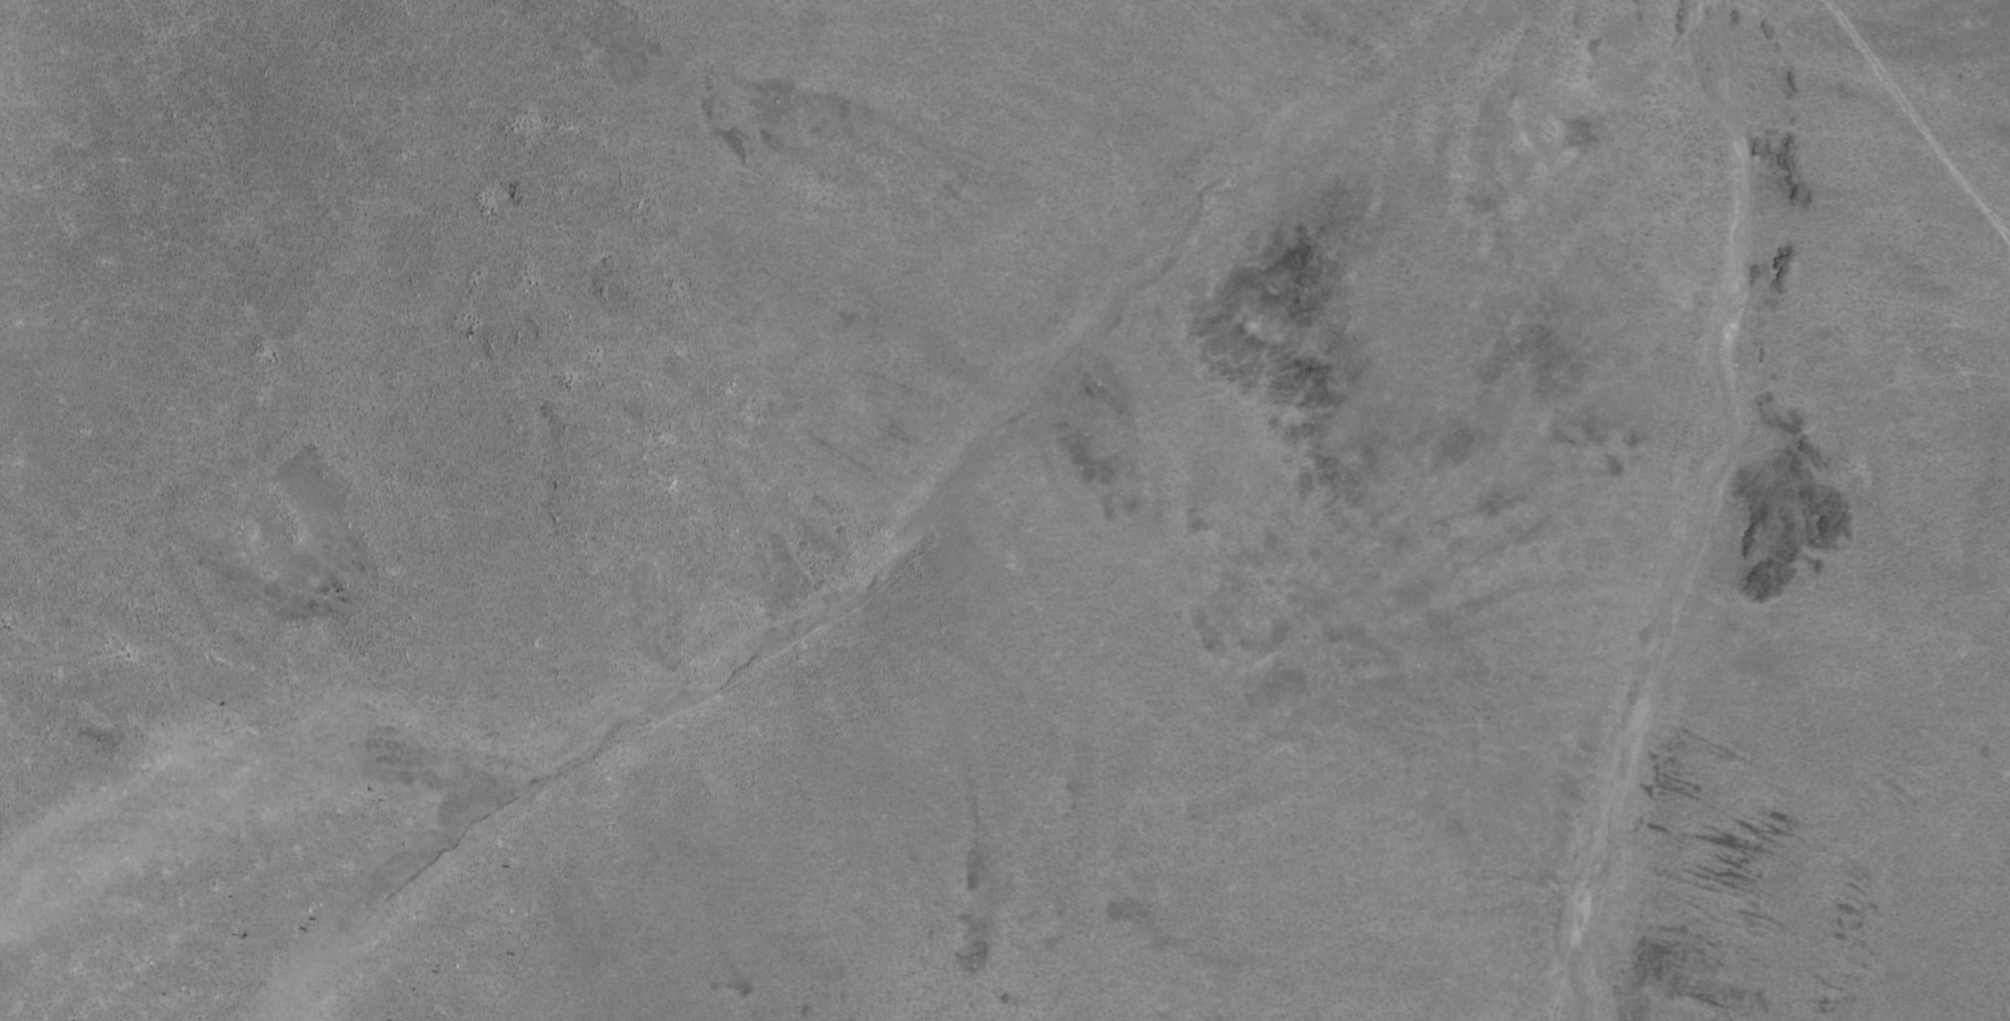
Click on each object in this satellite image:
road: (1920, 121)

